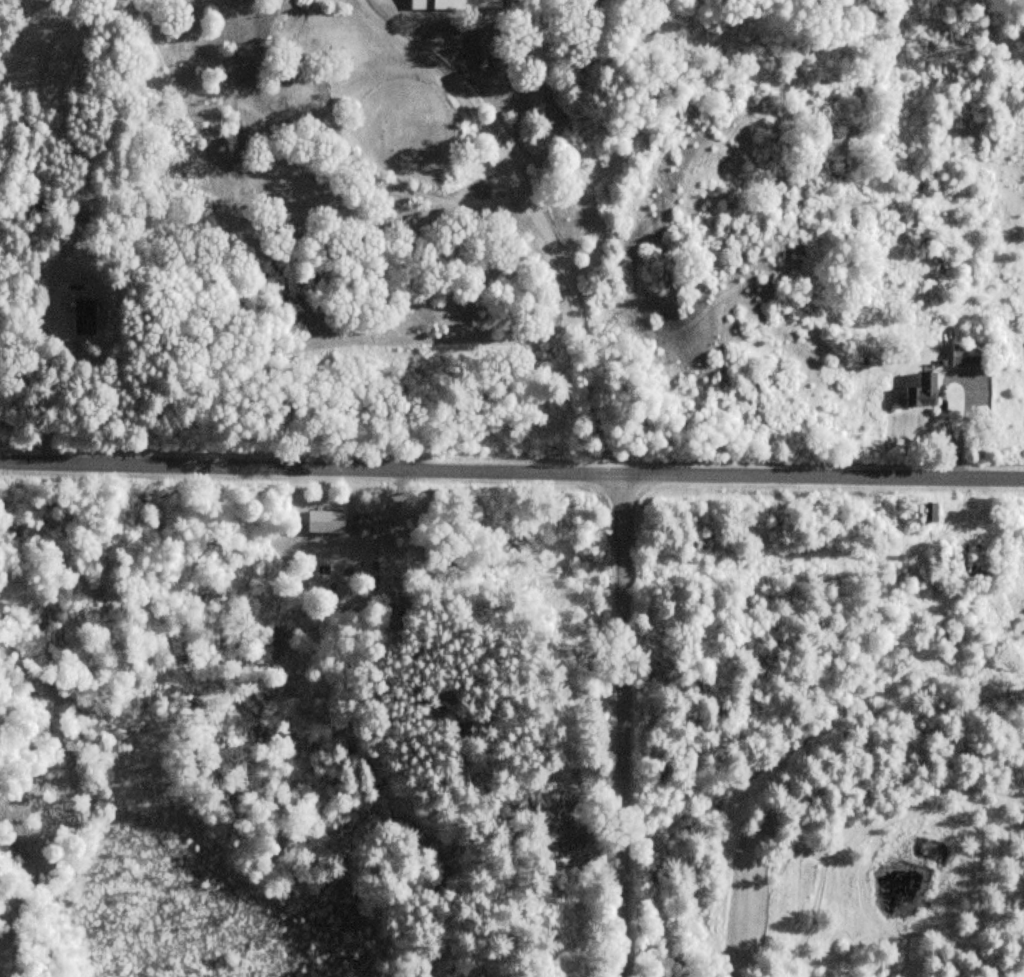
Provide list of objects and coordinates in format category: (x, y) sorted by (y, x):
building: (453, 5)
building: (290, 16)
building: (964, 356)
building: (920, 391)
road: (511, 471)
building: (925, 512)
building: (323, 521)
road: (618, 727)

